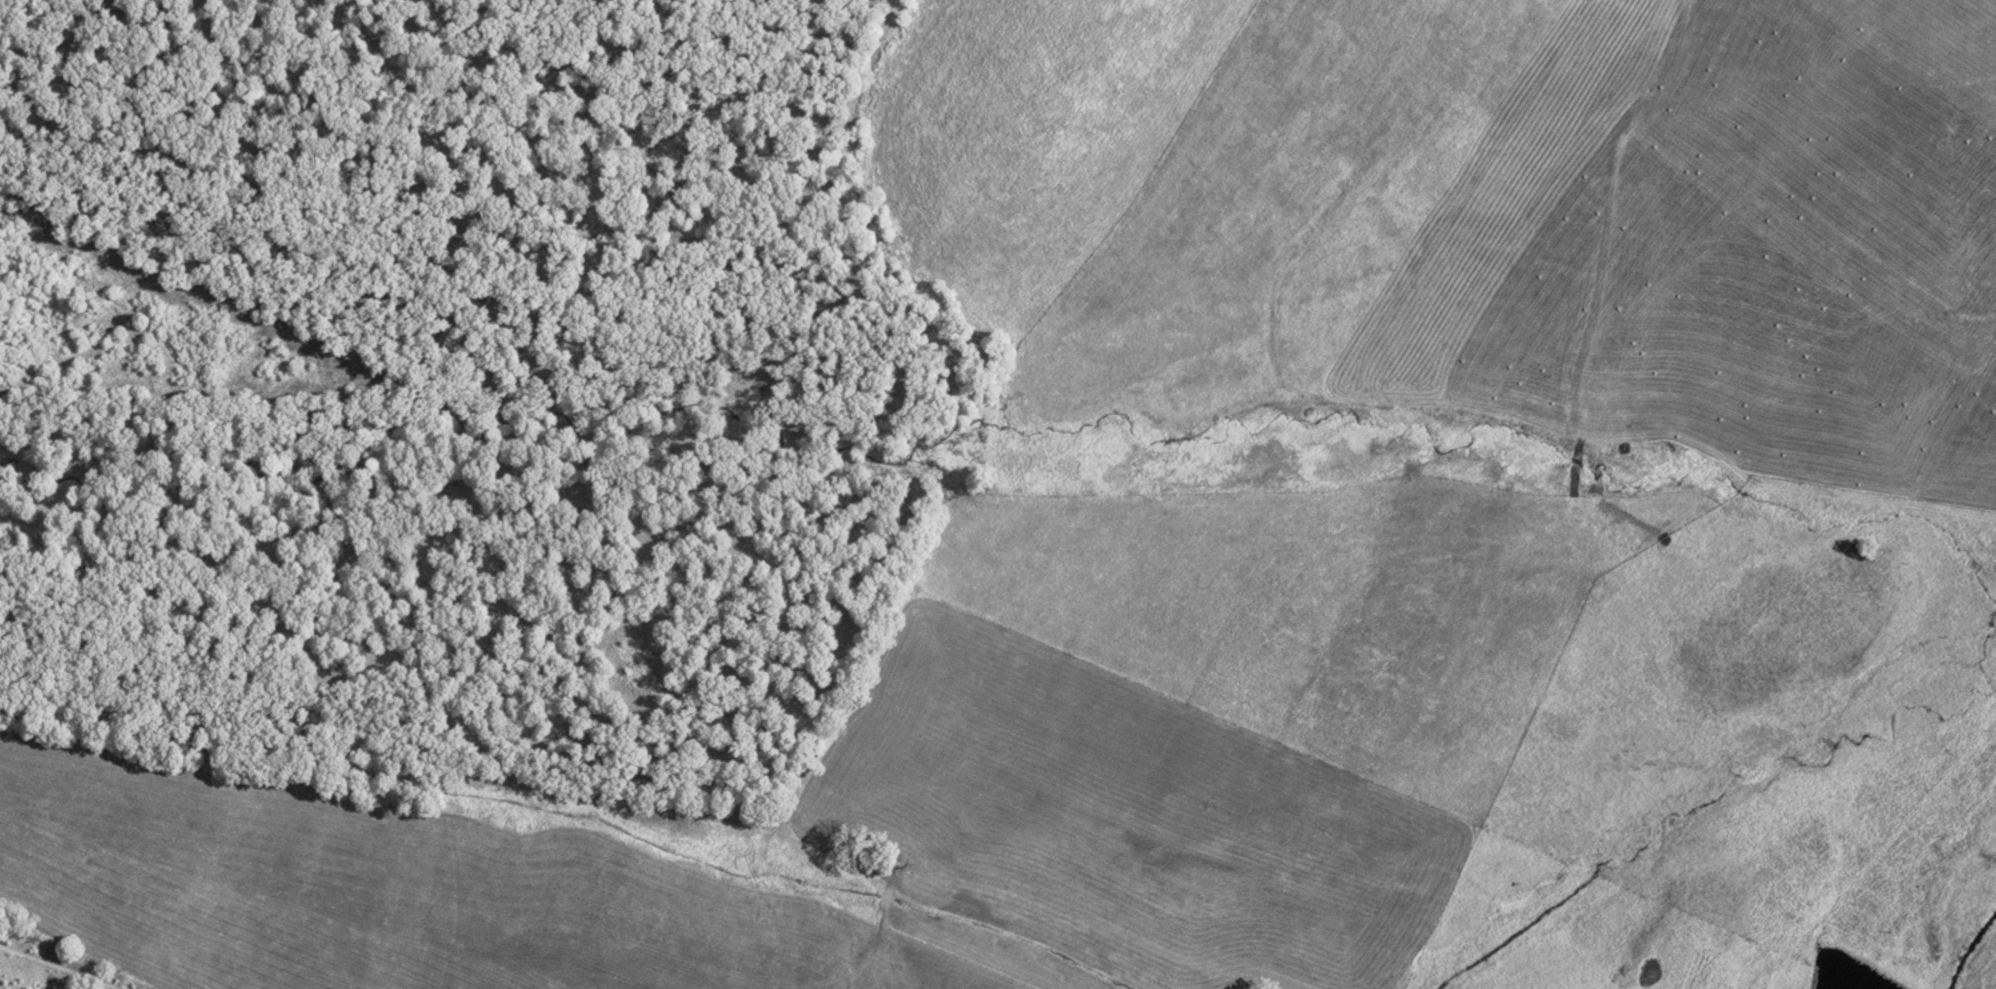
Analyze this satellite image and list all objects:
building: (1984, 542)
building: (1754, 985)

